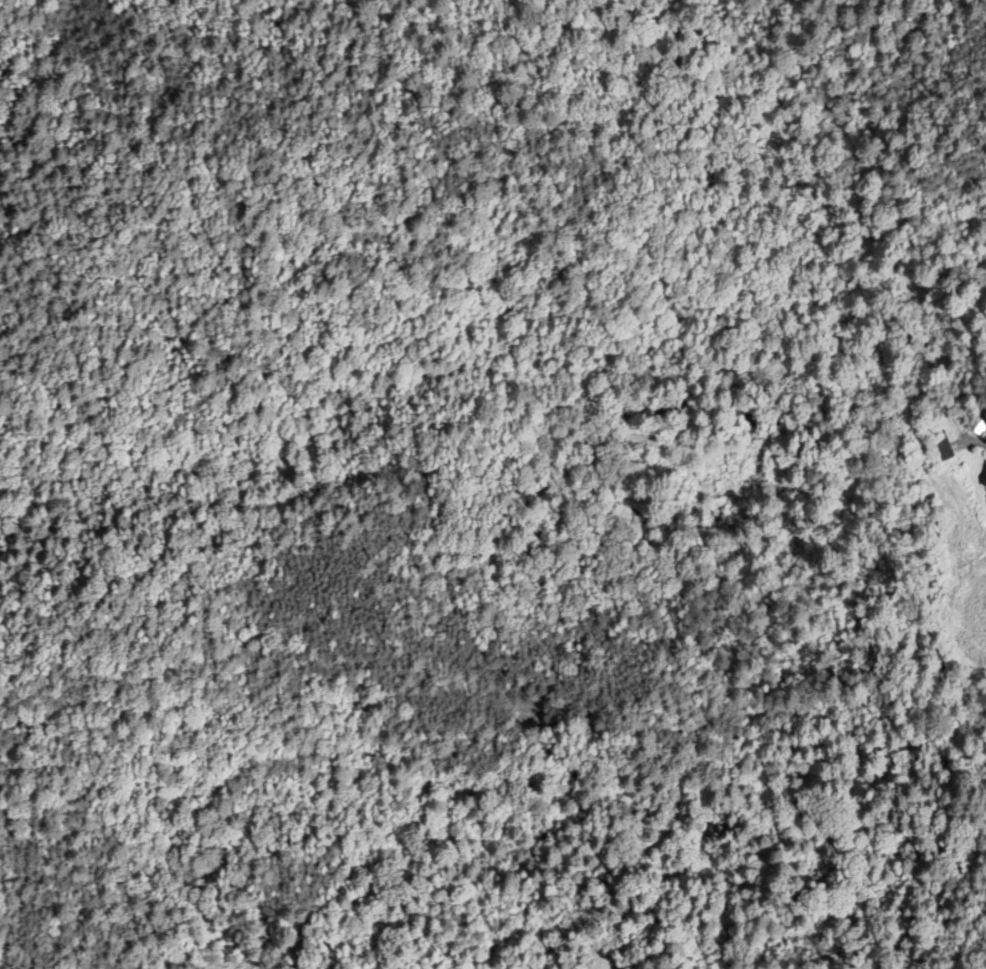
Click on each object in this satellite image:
building: (981, 264)
road: (953, 405)
building: (767, 414)
building: (977, 427)
building: (940, 447)
building: (984, 482)

